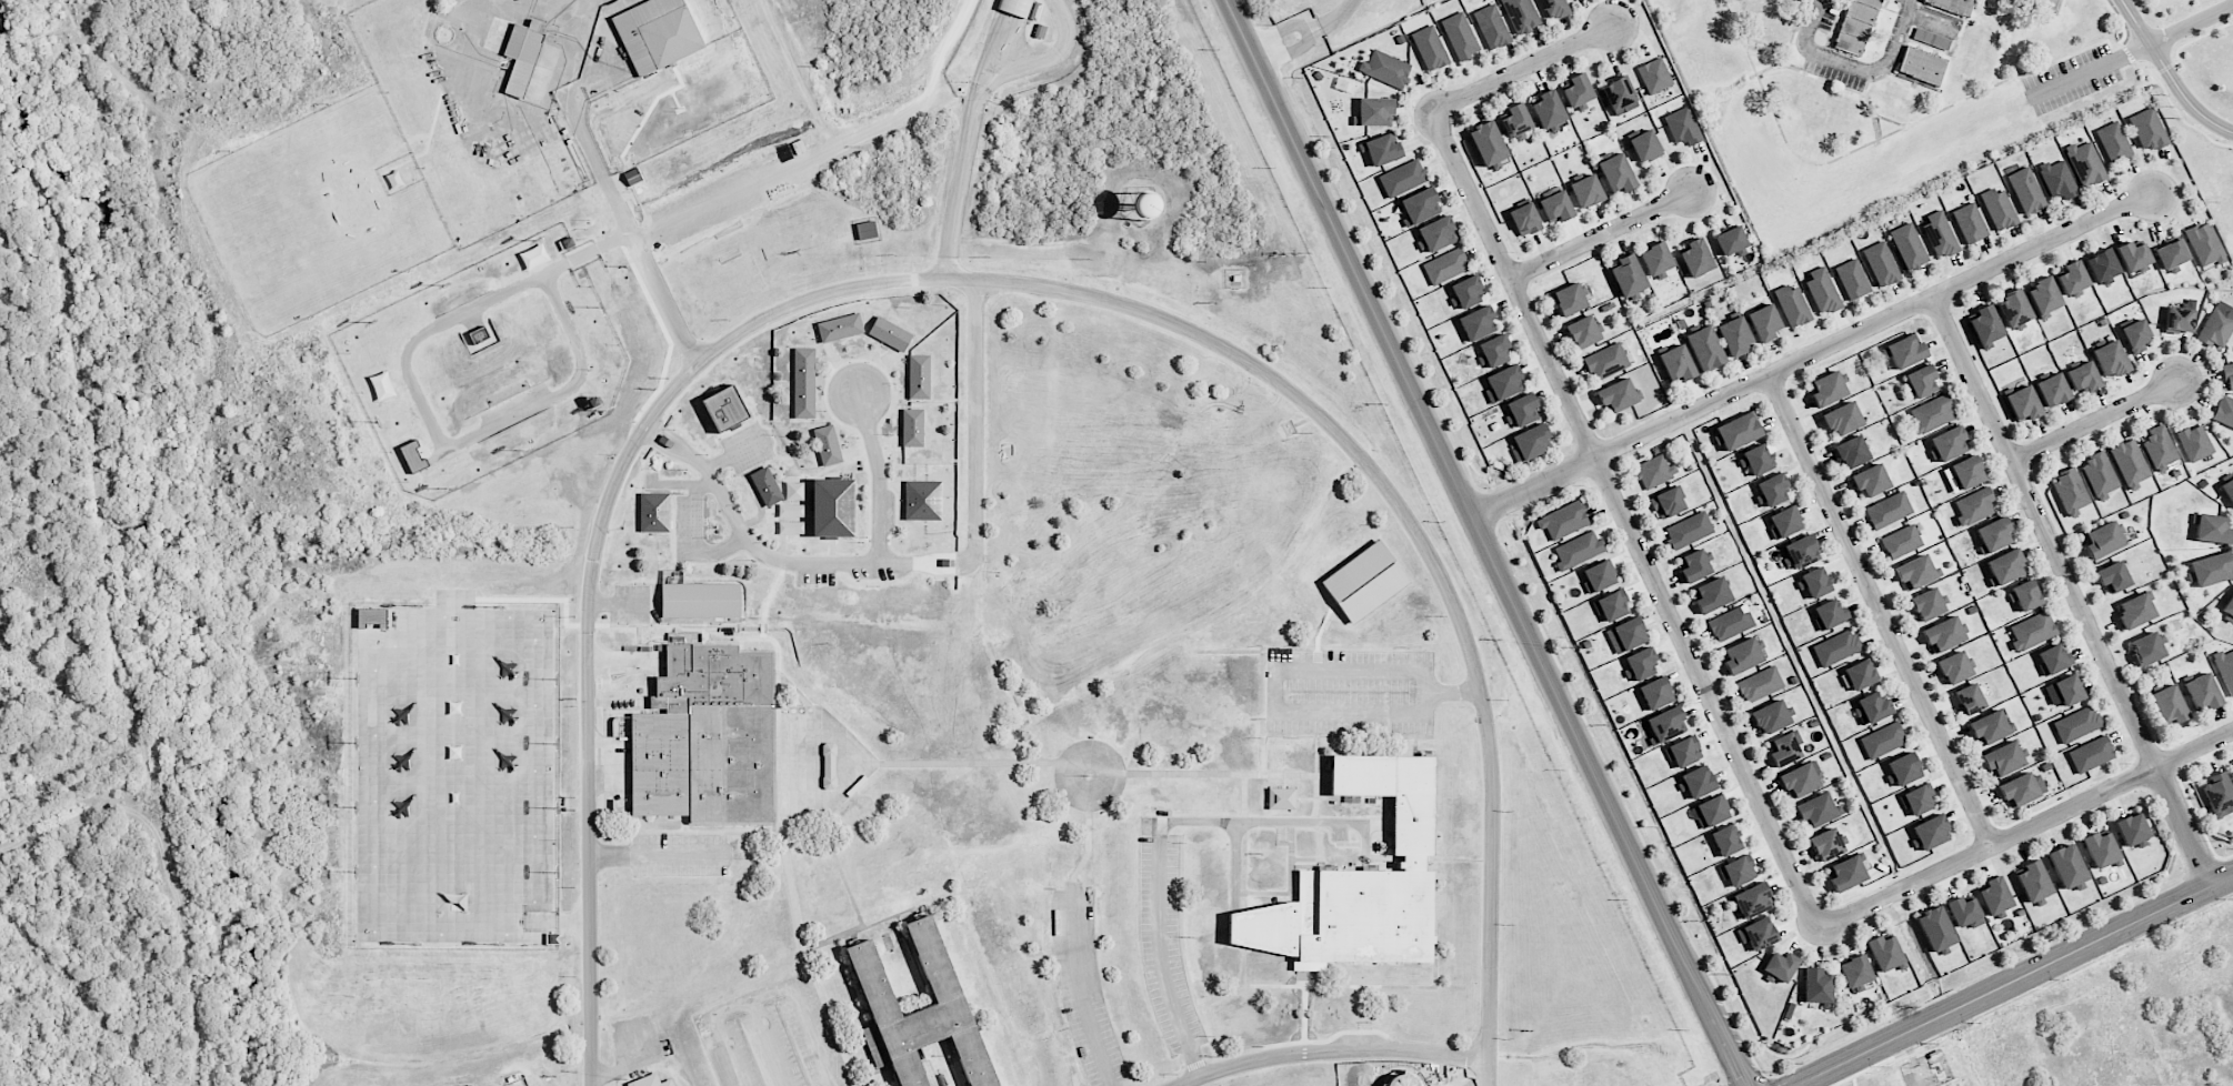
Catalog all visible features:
building: (2013, 1)
road: (2049, 4)
building: (1953, 6)
building: (1015, 7)
building: (1554, 8)
road: (1339, 16)
building: (1521, 16)
building: (1770, 23)
building: (1855, 26)
building: (1492, 27)
road: (1282, 30)
building: (657, 33)
building: (1460, 36)
building: (1430, 48)
road: (944, 51)
road: (1292, 51)
road: (1053, 54)
building: (1977, 54)
building: (522, 56)
building: (1922, 66)
road: (1855, 67)
road: (1522, 68)
building: (1385, 69)
building: (1654, 76)
road: (2169, 76)
building: (1578, 90)
building: (1620, 95)
building: (1896, 100)
building: (1822, 103)
road: (2019, 107)
building: (1549, 109)
building: (1374, 112)
building: (1516, 119)
building: (1683, 127)
building: (2147, 129)
road: (970, 135)
building: (2114, 141)
building: (1488, 143)
building: (1645, 147)
building: (1383, 149)
road: (594, 152)
building: (2085, 163)
building: (1616, 173)
building: (1403, 178)
building: (2057, 179)
building: (2026, 190)
building: (1586, 191)
road: (723, 203)
building: (1420, 207)
building: (1555, 207)
building: (1999, 209)
building: (1525, 219)
building: (1970, 223)
building: (865, 230)
building: (1438, 233)
road: (1601, 234)
building: (1940, 234)
building: (1731, 240)
building: (2203, 244)
building: (1909, 245)
building: (2170, 254)
building: (2132, 255)
building: (1696, 258)
building: (1656, 259)
building: (1881, 263)
building: (1445, 265)
building: (2102, 265)
building: (1628, 275)
building: (2073, 278)
building: (1852, 279)
road: (998, 280)
building: (1822, 291)
building: (1466, 292)
building: (2044, 295)
building: (1570, 299)
building: (1792, 305)
building: (2014, 309)
building: (2179, 320)
building: (1764, 322)
building: (1478, 323)
building: (1985, 324)
building: (2217, 325)
building: (840, 328)
building: (1583, 332)
building: (890, 333)
building: (1735, 335)
building: (2135, 335)
building: (1705, 348)
building: (1493, 351)
building: (1905, 351)
road: (1812, 352)
building: (2110, 359)
building: (1606, 361)
building: (1676, 364)
building: (2229, 375)
building: (919, 376)
building: (2083, 378)
building: (1921, 381)
building: (803, 383)
building: (1503, 383)
building: (1828, 389)
building: (2052, 390)
building: (1618, 395)
building: (2023, 404)
building: (725, 409)
building: (1521, 410)
building: (2224, 411)
building: (1931, 414)
building: (1842, 419)
road: (2095, 420)
building: (912, 428)
road: (487, 430)
building: (1739, 431)
building: (1531, 443)
building: (1949, 443)
building: (2194, 443)
building: (828, 445)
building: (2160, 448)
building: (1852, 452)
building: (413, 456)
building: (1758, 459)
building: (2130, 463)
building: (1654, 471)
building: (1963, 474)
building: (2100, 475)
road: (879, 476)
building: (1871, 480)
building: (765, 486)
building: (1773, 490)
building: (2227, 490)
building: (2071, 491)
building: (922, 500)
building: (1668, 502)
building: (1974, 506)
building: (832, 507)
building: (1887, 510)
building: (654, 512)
building: (790, 520)
building: (1563, 521)
road: (1623, 521)
building: (1785, 522)
building: (2212, 529)
building: (1689, 530)
building: (1993, 535)
building: (2103, 540)
road: (1488, 542)
building: (1901, 542)
building: (1578, 550)
building: (1802, 552)
road: (917, 564)
building: (1694, 566)
building: (2004, 567)
building: (2211, 569)
building: (1915, 572)
building: (1599, 576)
building: (2113, 576)
building: (1364, 581)
building: (1815, 582)
road: (2072, 590)
building: (1712, 595)
building: (2026, 595)
building: (700, 600)
building: (1929, 604)
building: (1611, 606)
building: (2227, 609)
road: (1881, 610)
building: (2136, 610)
building: (1830, 614)
building: (371, 617)
road: (1323, 624)
building: (1730, 624)
building: (2032, 631)
building: (1944, 634)
building: (1626, 635)
building: (1836, 647)
building: (2146, 648)
building: (1742, 656)
building: (2054, 658)
building: (1641, 663)
building: (1954, 667)
building: (2225, 668)
road: (1286, 673)
building: (1860, 674)
building: (1760, 684)
parking lot: (1350, 691)
building: (2202, 692)
building: (1655, 693)
building: (1969, 700)
building: (2169, 704)
building: (1872, 707)
building: (1771, 717)
building: (1666, 724)
building: (2076, 724)
building: (1990, 727)
road: (1345, 735)
building: (707, 737)
building: (1883, 740)
road: (1262, 747)
building: (1785, 748)
building: (1684, 752)
building: (2091, 754)
building: (2003, 760)
building: (1903, 770)
road: (1228, 773)
building: (2231, 774)
road: (1315, 777)
building: (1800, 780)
building: (1698, 782)
building: (2022, 788)
road: (1120, 792)
building: (2217, 794)
road: (1244, 797)
building: (1281, 798)
building: (1917, 800)
building: (1711, 811)
building: (1815, 811)
road: (1275, 821)
road: (2027, 828)
building: (2132, 828)
building: (1931, 832)
building: (1726, 841)
building: (1828, 844)
building: (2101, 849)
road: (1088, 853)
road: (660, 855)
road: (1319, 855)
road: (1383, 858)
road: (1456, 859)
road: (1291, 861)
road: (1234, 863)
road: (1243, 865)
building: (2067, 865)
building: (1738, 871)
building: (1846, 874)
building: (2034, 881)
building: (1359, 882)
road: (1266, 893)
building: (1995, 896)
building: (1753, 901)
building: (1965, 912)
building: (1060, 921)
road: (1180, 923)
building: (1936, 928)
building: (1756, 934)
parking lot: (1164, 943)
building: (1885, 952)
road: (1161, 959)
road: (1243, 966)
building: (1781, 966)
building: (1855, 971)
building: (940, 976)
road: (2016, 981)
road: (1338, 986)
building: (1818, 986)
parking lot: (1084, 988)
road: (765, 992)
road: (1082, 995)
road: (1304, 1012)
road: (834, 1030)
road: (1206, 1033)
parking lot: (772, 1038)
road: (767, 1042)
road: (1303, 1042)
road: (1329, 1049)
building: (650, 1082)
building: (470, 1085)

